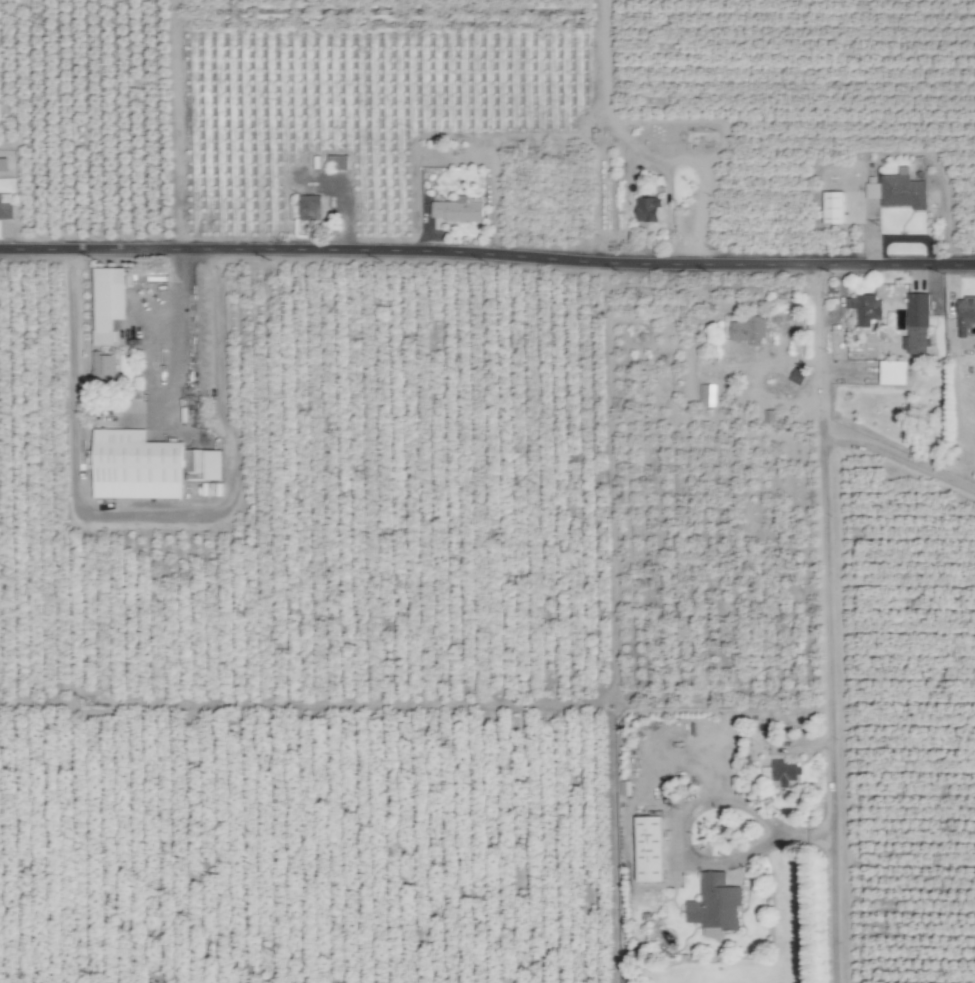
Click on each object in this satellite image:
building: (899, 192)
building: (5, 208)
building: (833, 209)
building: (310, 211)
building: (457, 212)
building: (648, 212)
road: (487, 255)
building: (102, 301)
building: (866, 310)
building: (966, 313)
building: (917, 325)
road: (177, 329)
building: (746, 331)
building: (892, 374)
building: (798, 378)
building: (707, 397)
building: (148, 461)
road: (153, 512)
road: (829, 623)
road: (300, 705)
building: (782, 775)
road: (778, 835)
building: (649, 851)
building: (716, 900)

